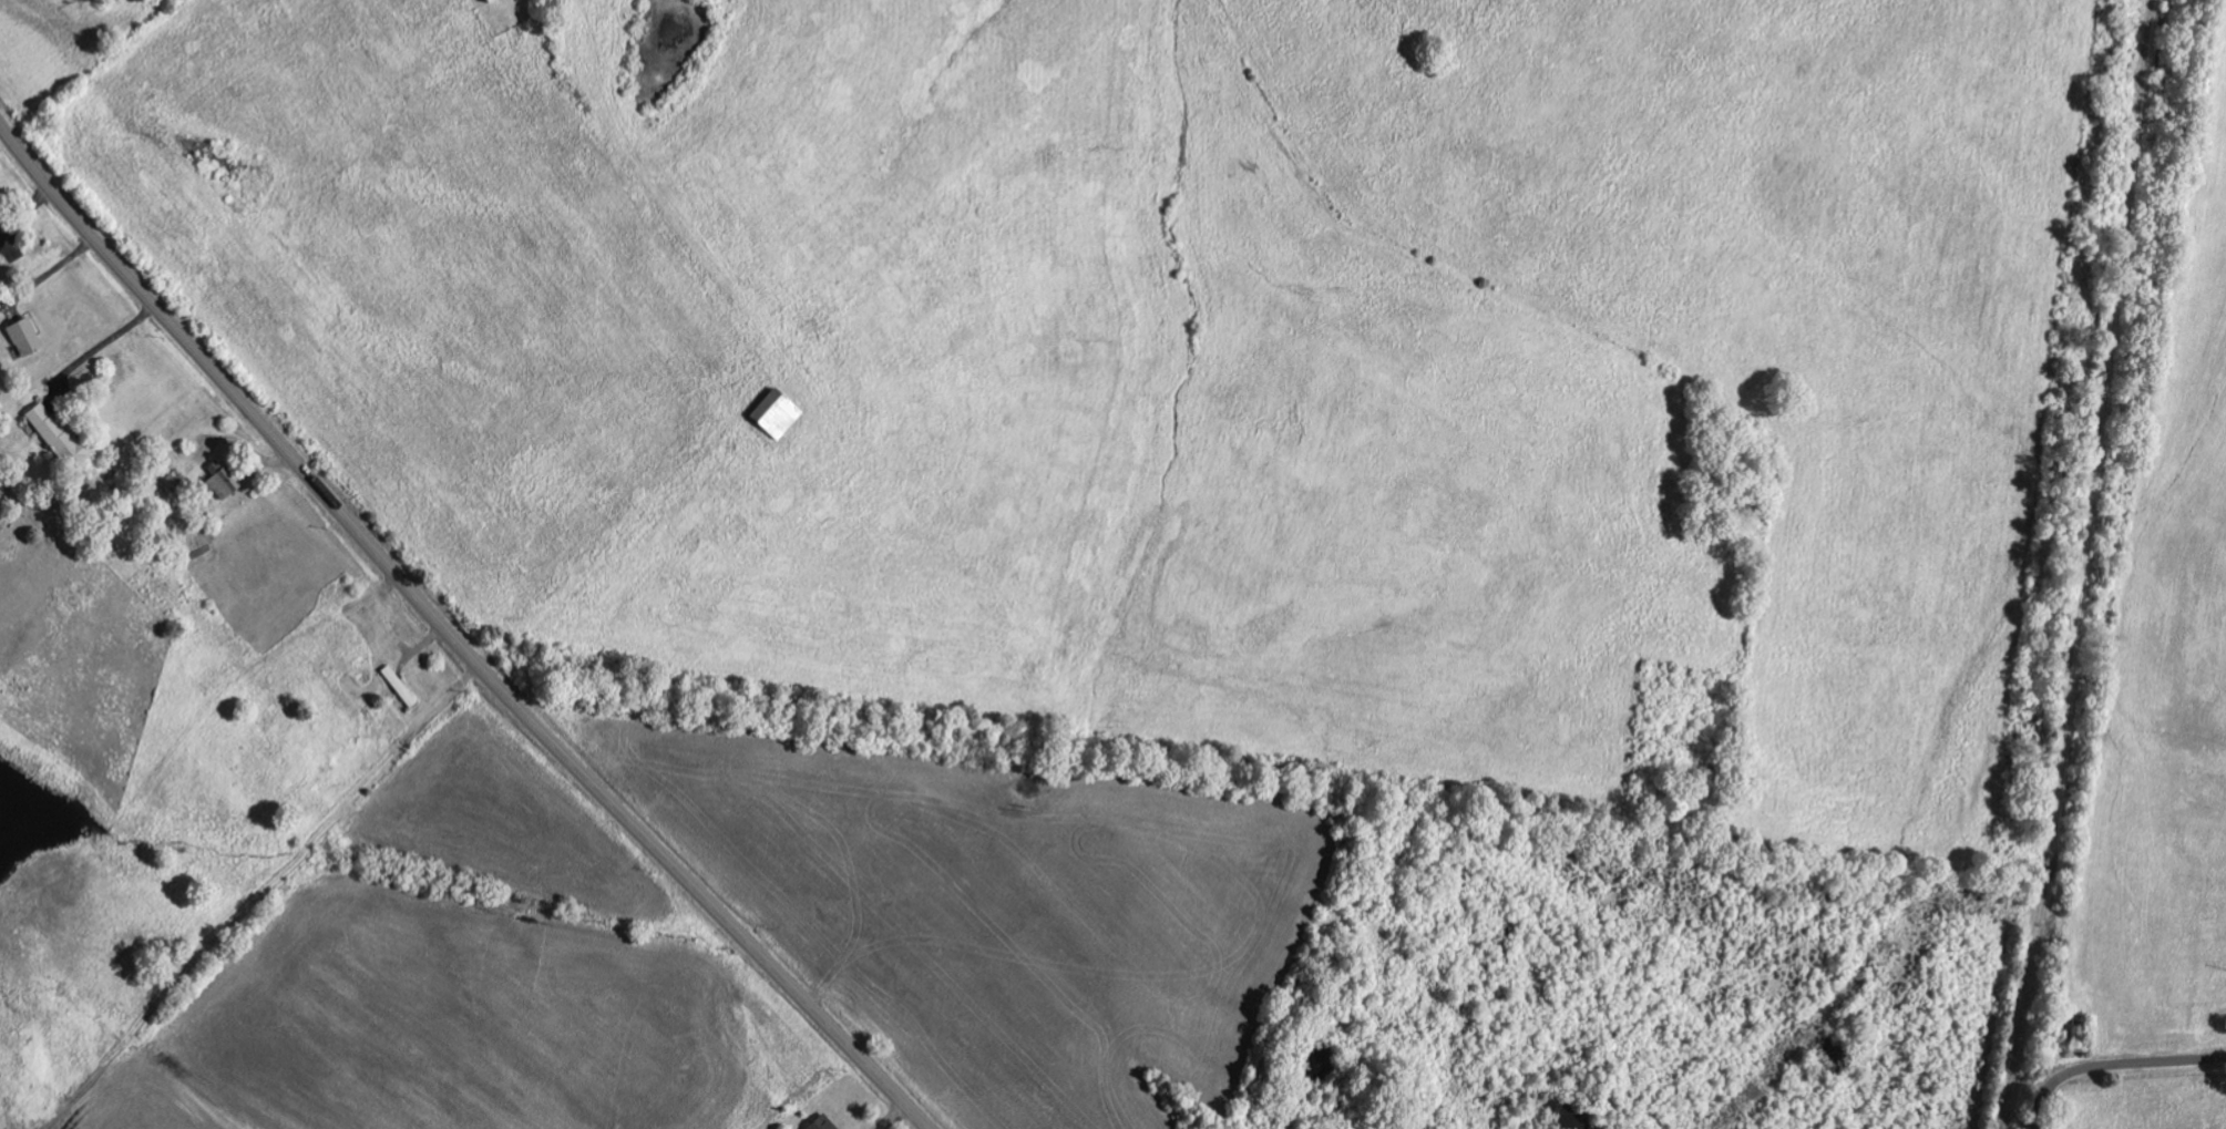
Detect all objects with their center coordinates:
building: (491, 1)
building: (25, 338)
building: (777, 415)
building: (58, 437)
building: (224, 481)
road: (452, 639)
crop: (756, 941)
road: (2115, 1069)
building: (823, 1123)

